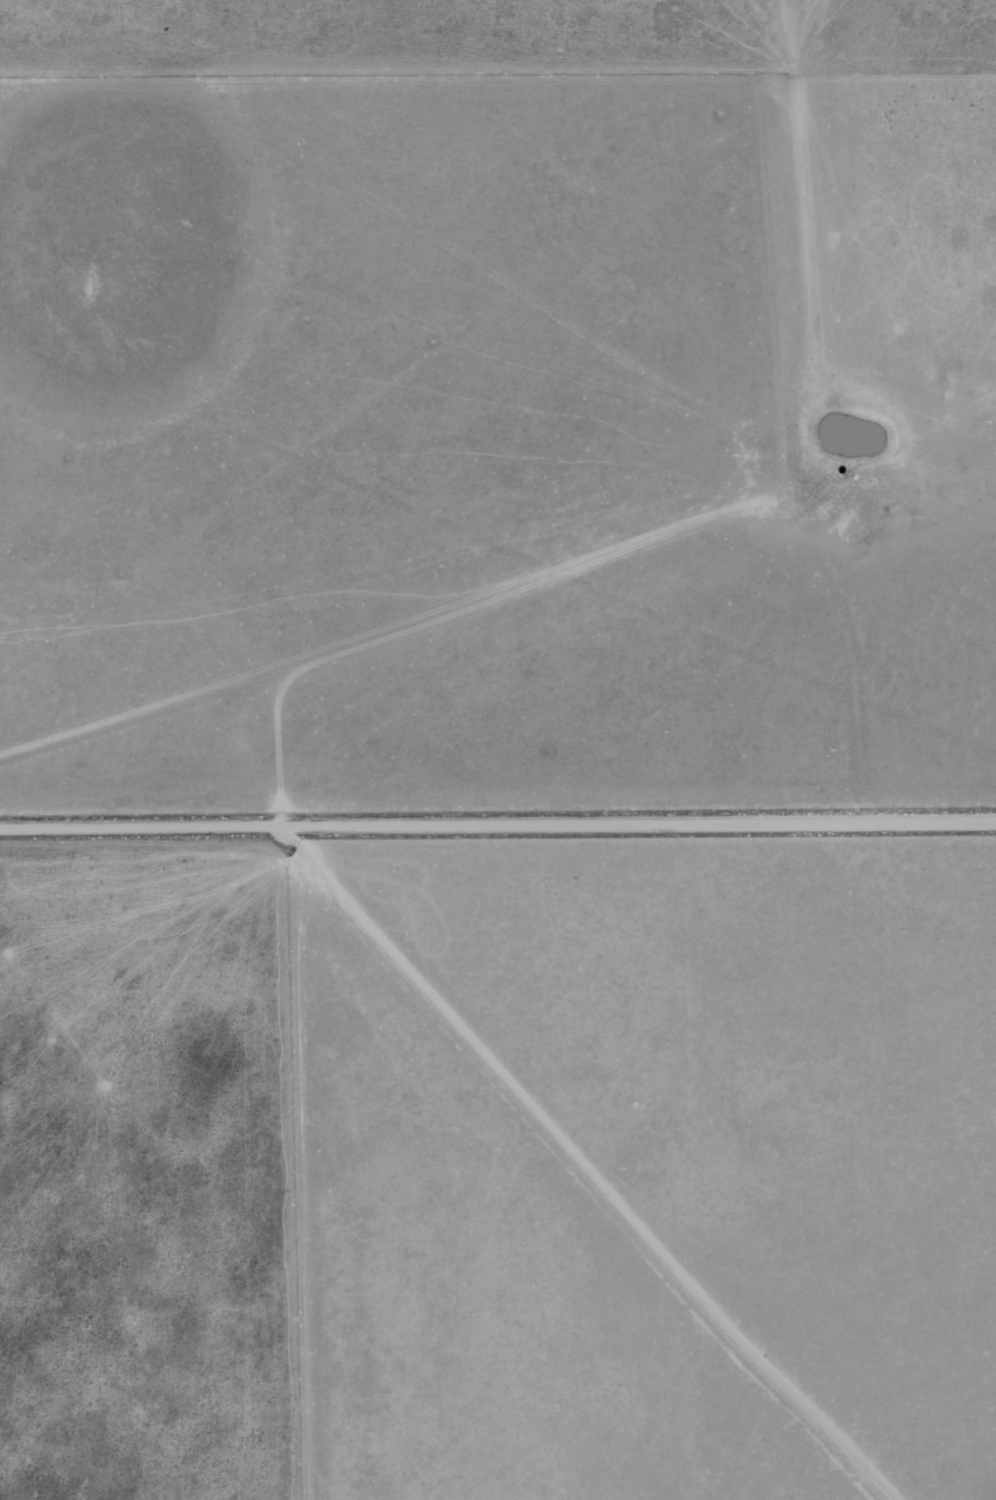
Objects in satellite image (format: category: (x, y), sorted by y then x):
road: (417, 627)
road: (368, 632)
road: (497, 820)
road: (591, 1167)

